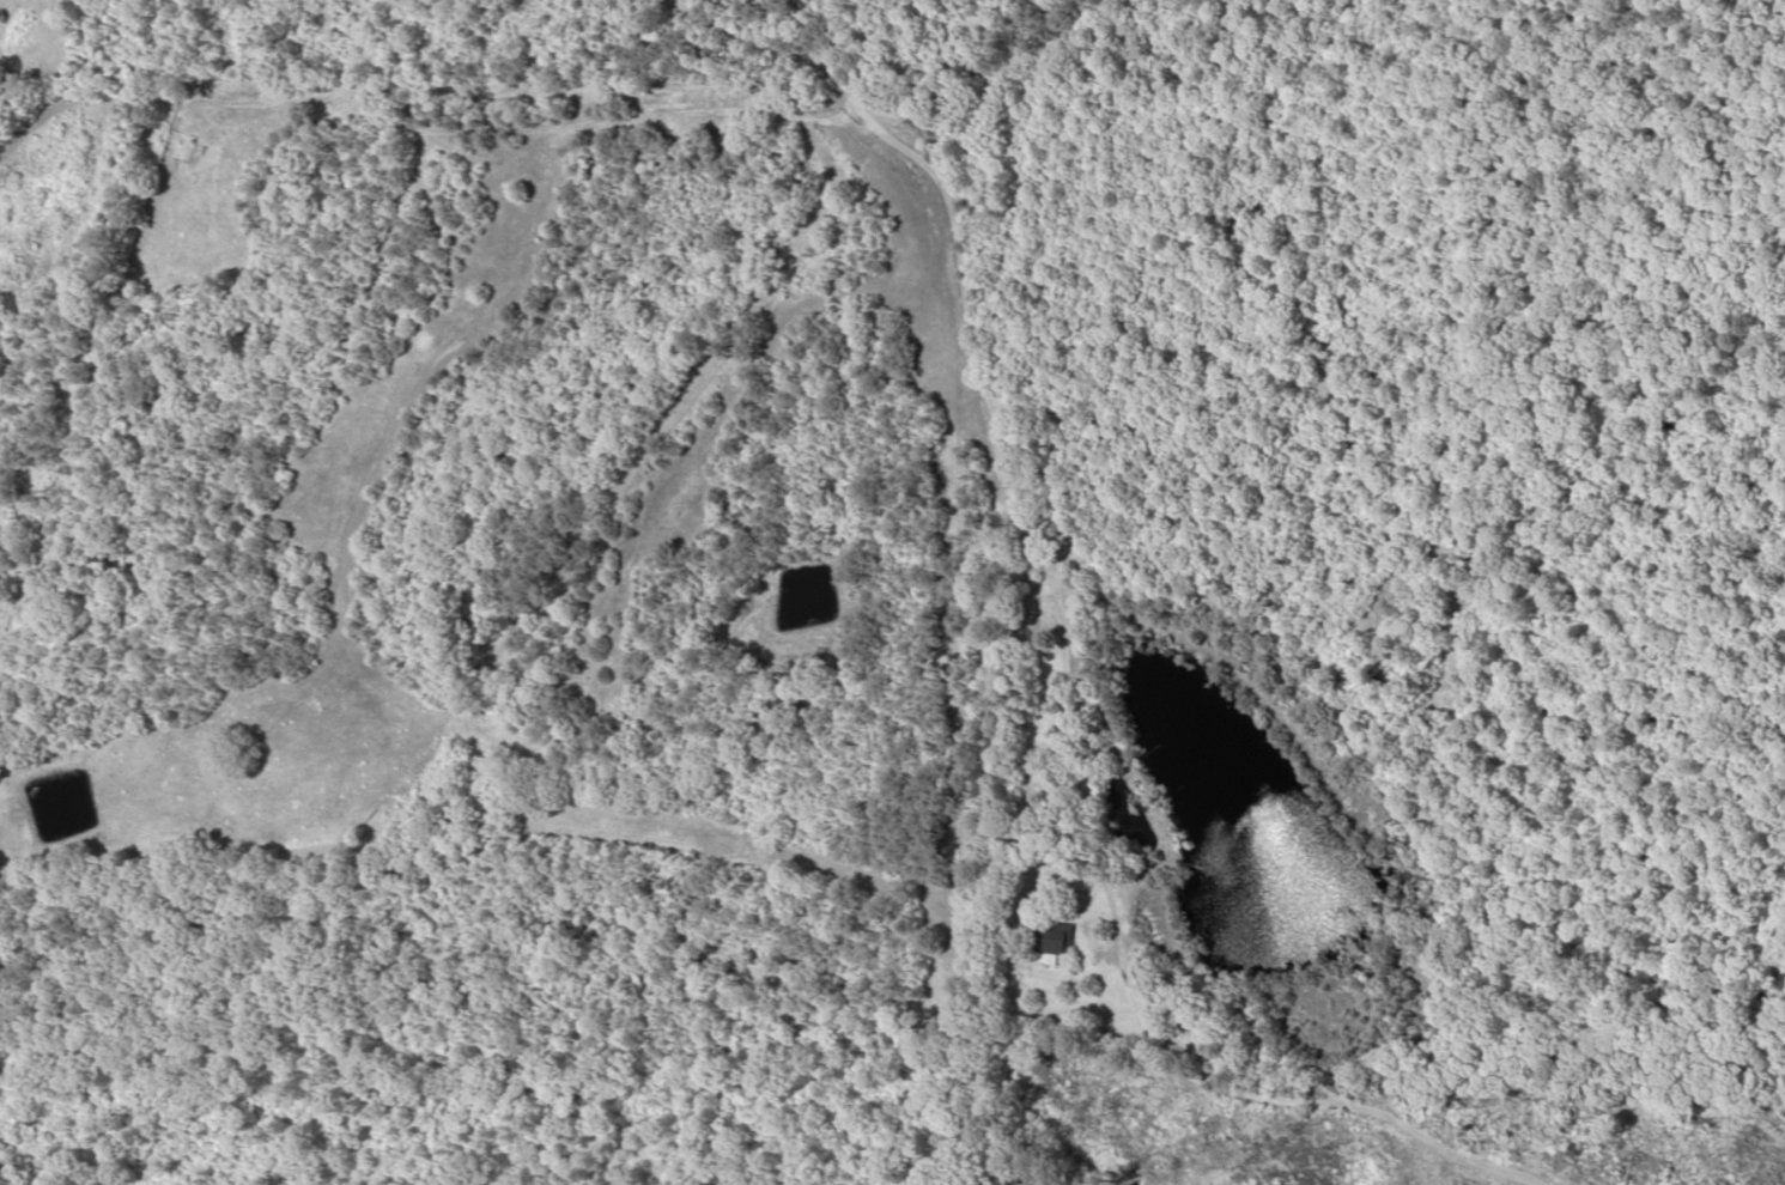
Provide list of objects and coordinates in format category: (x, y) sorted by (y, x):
building: (1057, 943)
building: (1148, 980)

